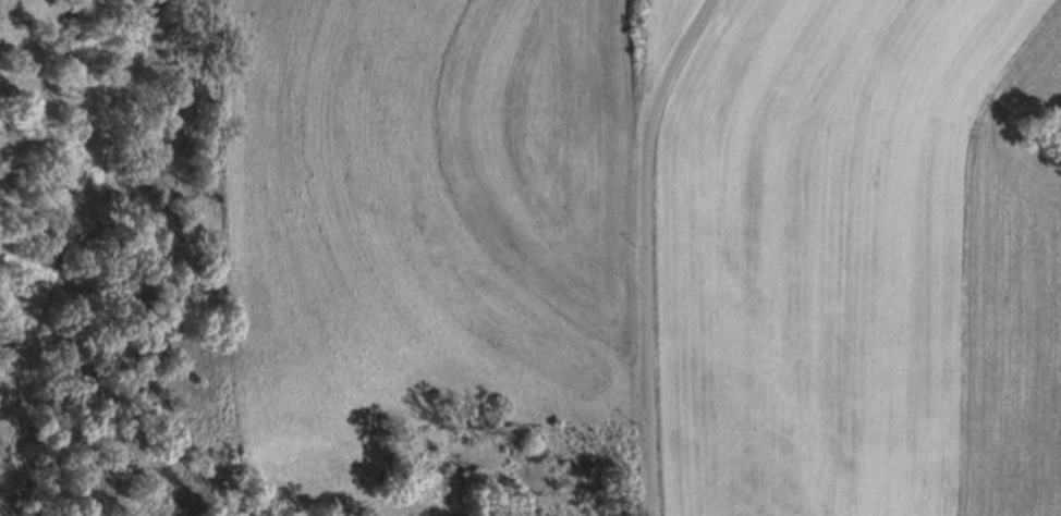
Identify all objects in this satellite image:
road: (646, 249)

